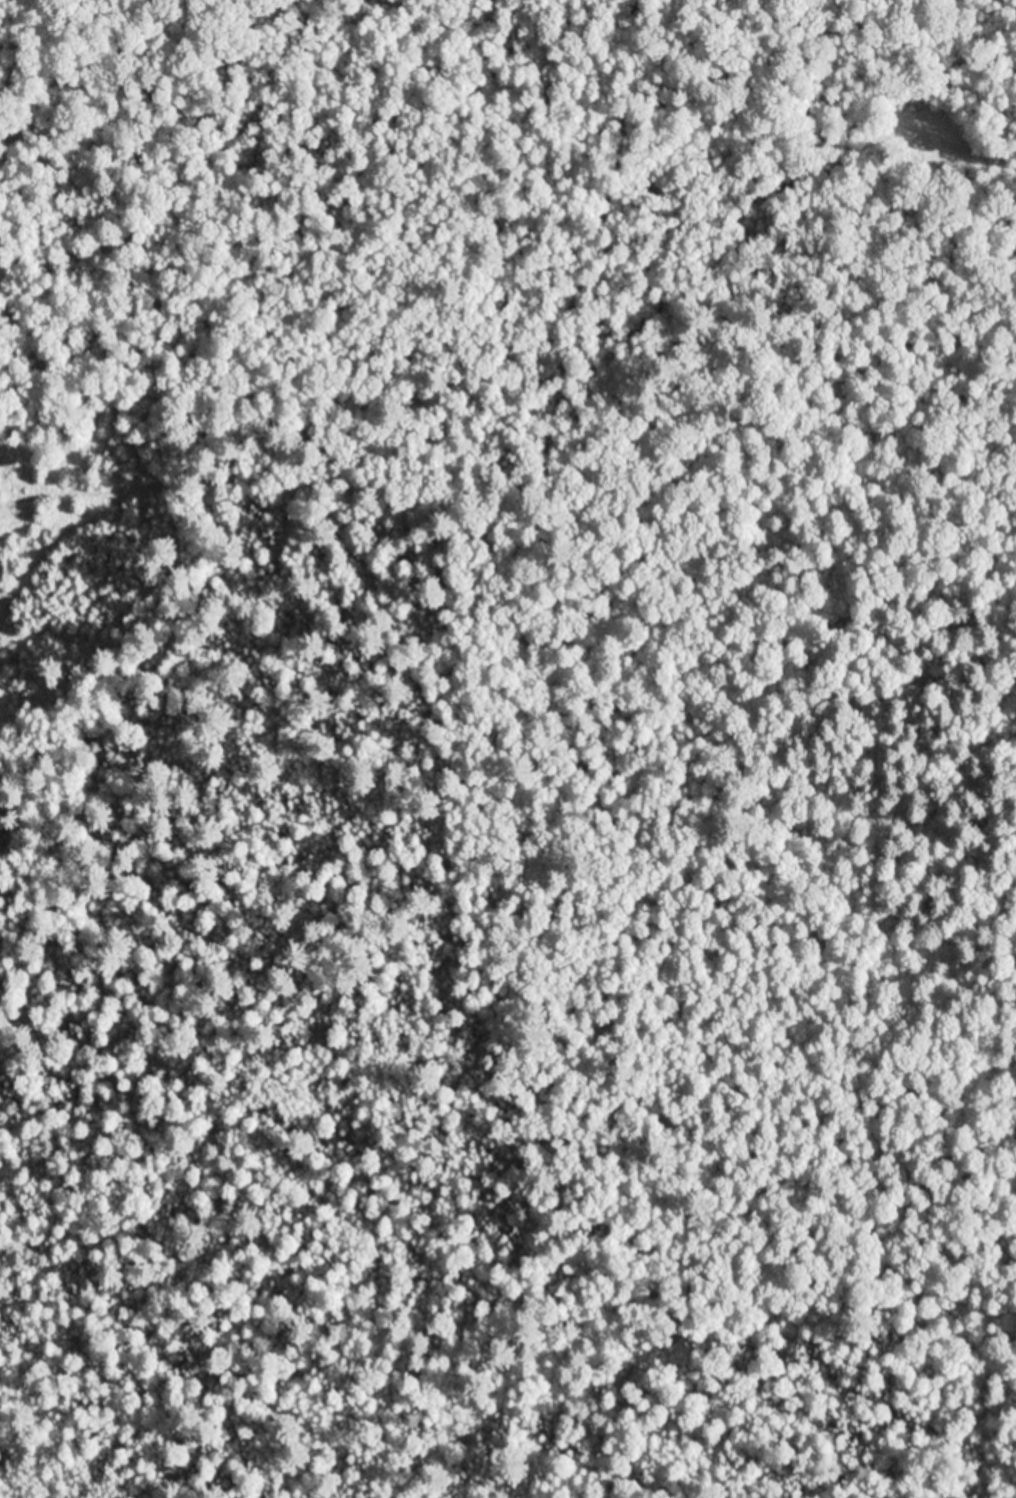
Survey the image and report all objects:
road: (953, 142)

